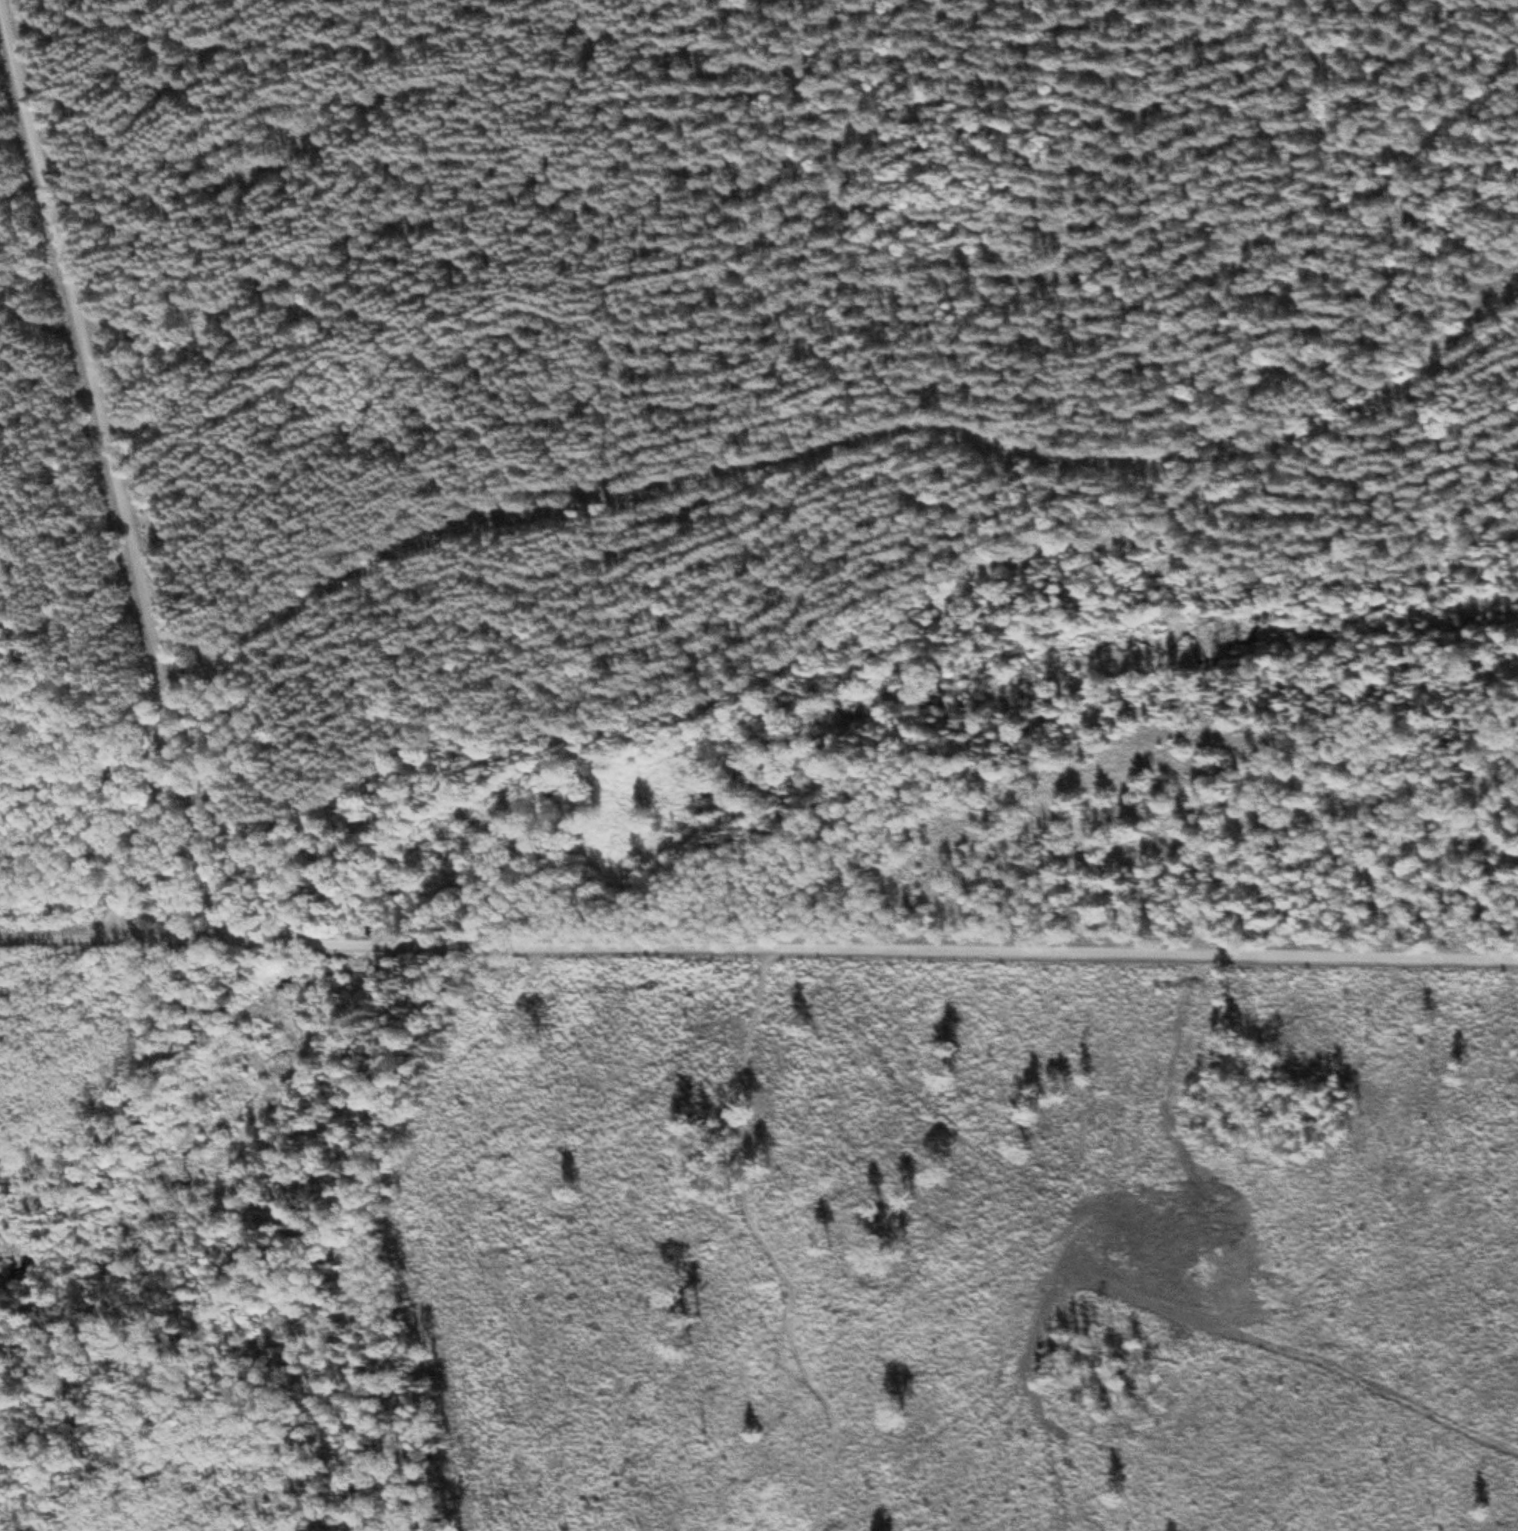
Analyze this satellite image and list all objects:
road: (853, 424)
road: (119, 464)
road: (112, 929)
road: (871, 950)
road: (764, 1246)

